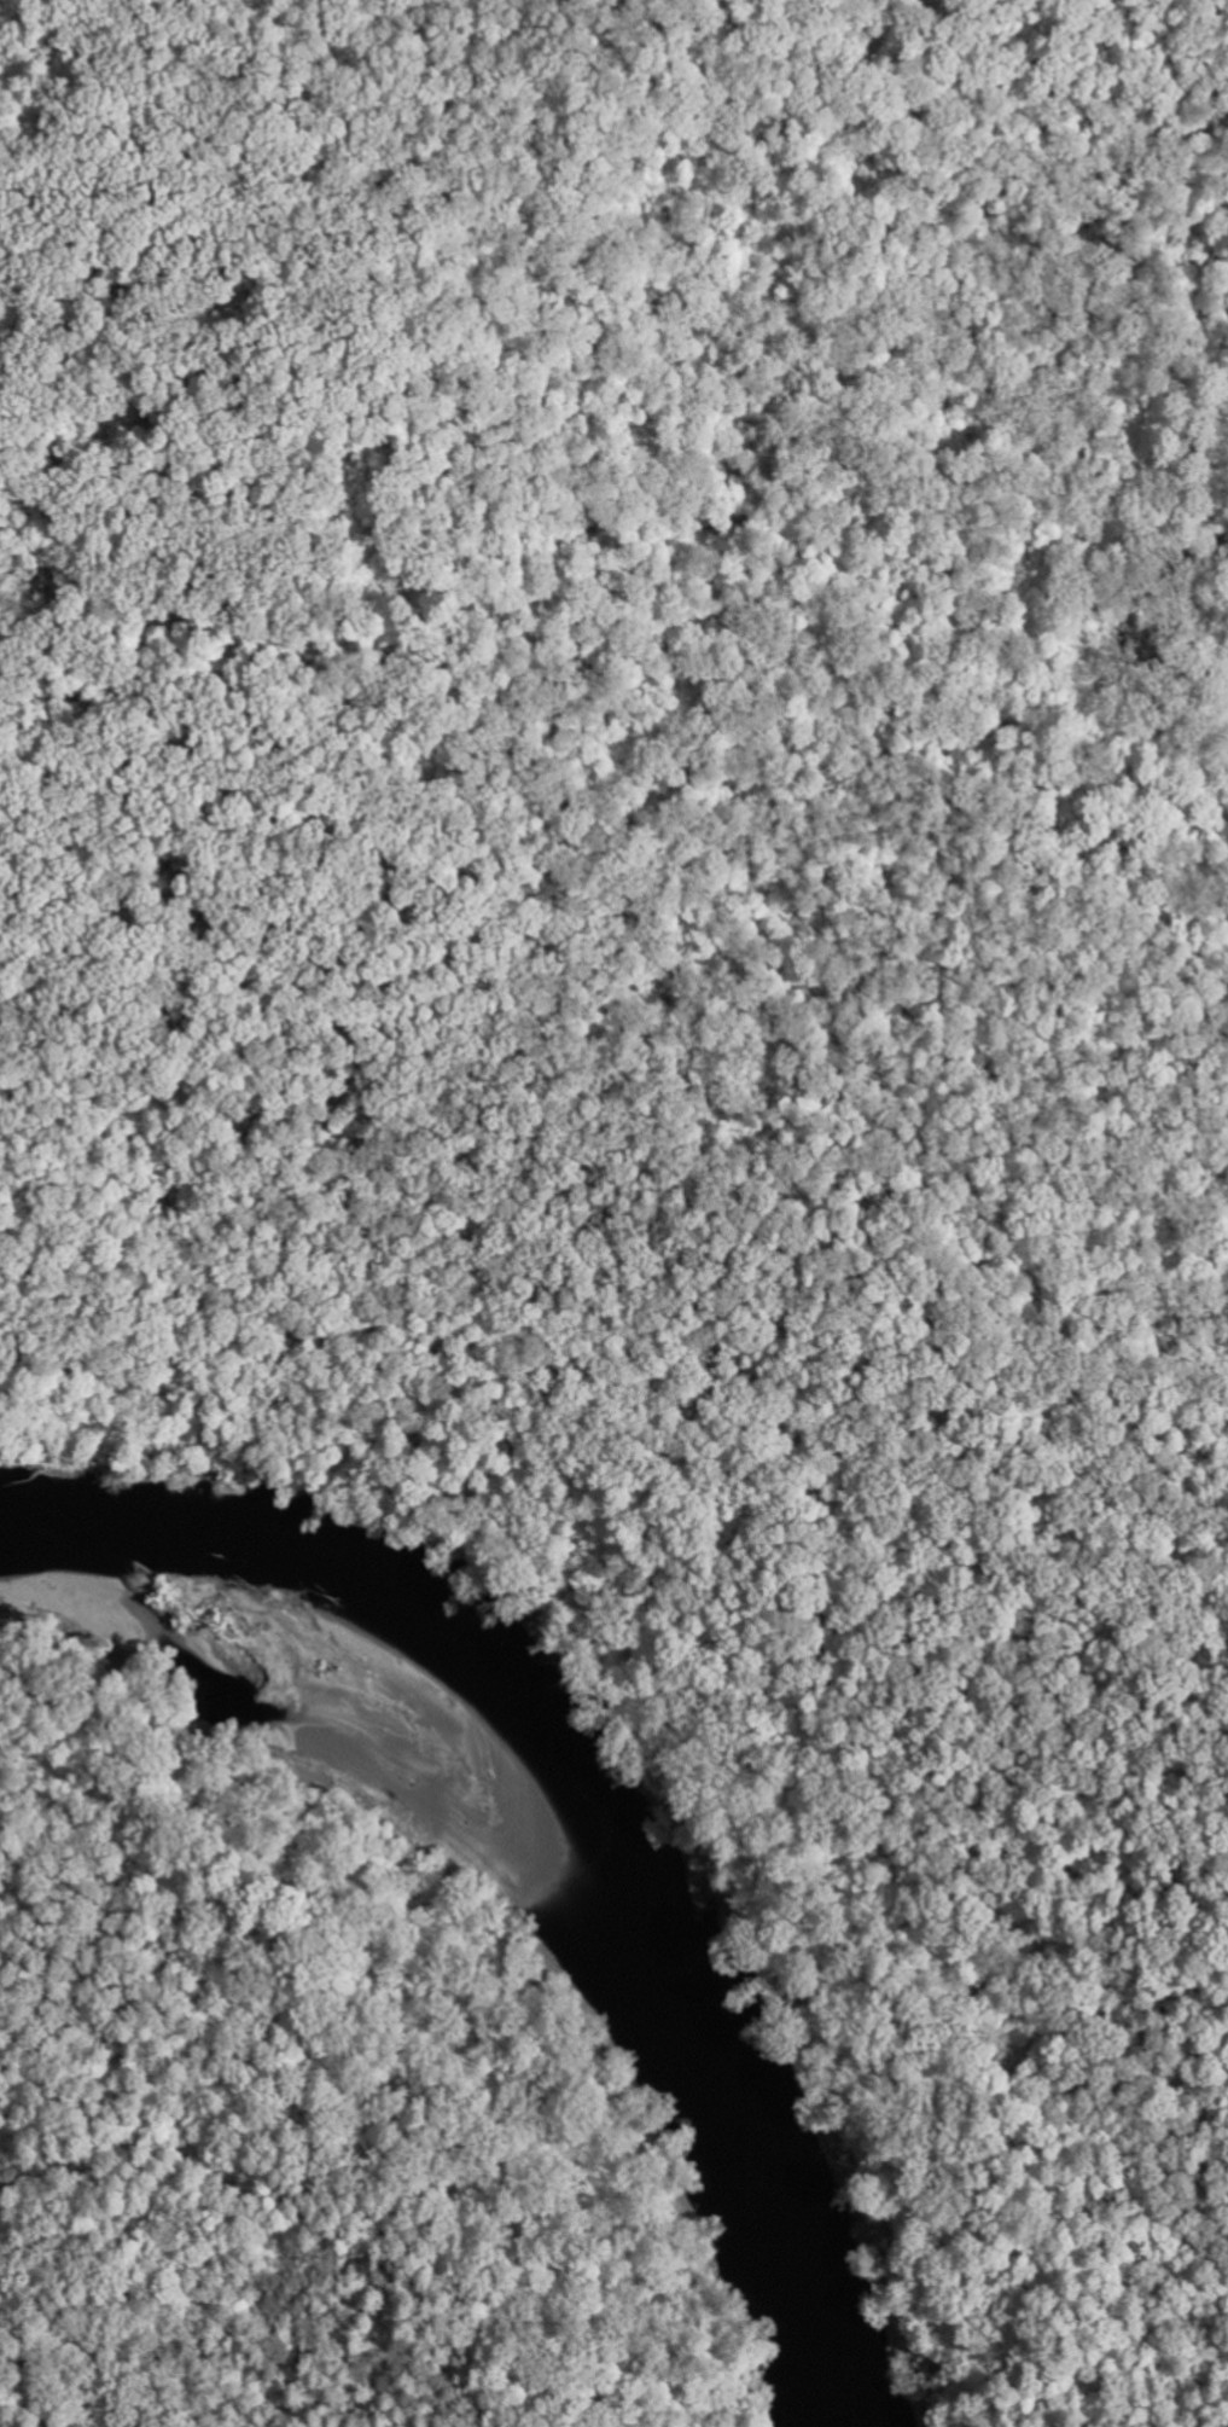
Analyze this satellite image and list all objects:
road: (204, 402)
river: (582, 1786)

